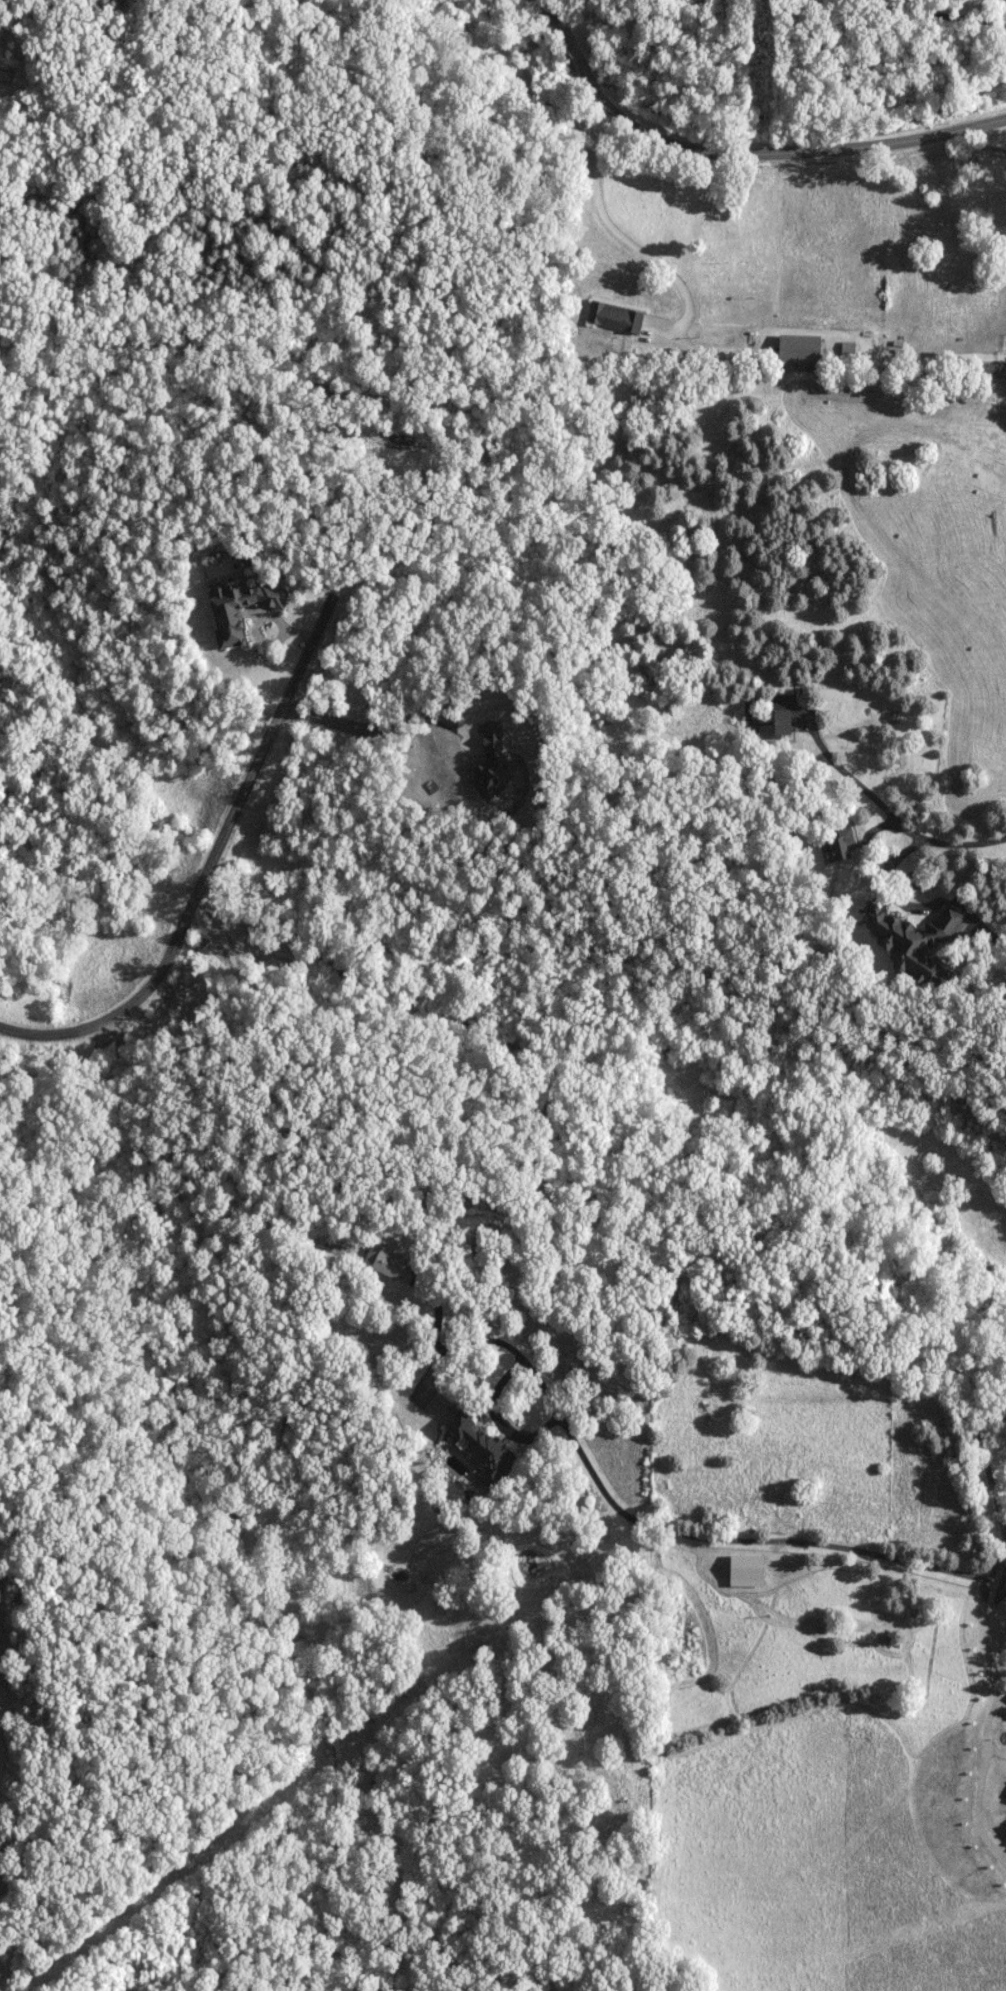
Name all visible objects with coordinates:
road: (942, 14)
road: (633, 22)
building: (1, 31)
road: (980, 144)
road: (738, 151)
road: (619, 233)
building: (616, 317)
building: (799, 349)
building: (989, 372)
building: (227, 620)
building: (774, 720)
road: (362, 729)
road: (888, 811)
building: (842, 845)
road: (903, 852)
road: (212, 871)
road: (907, 901)
building: (913, 940)
building: (384, 1262)
road: (522, 1356)
building: (482, 1446)
road: (887, 1556)
building: (743, 1564)
road: (983, 1632)
road: (1001, 1703)
road: (984, 1730)

